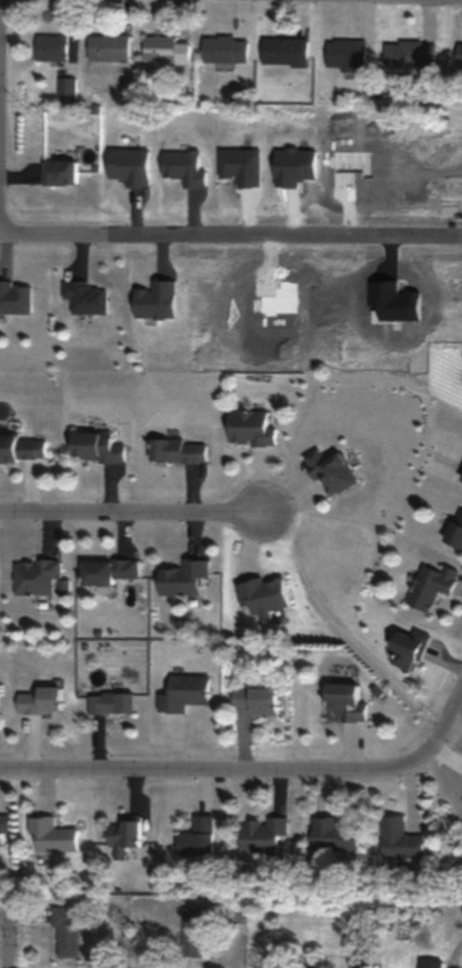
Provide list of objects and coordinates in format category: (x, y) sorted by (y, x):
road: (364, 1)
building: (50, 47)
building: (109, 47)
building: (166, 49)
building: (225, 49)
building: (285, 51)
building: (346, 53)
building: (410, 53)
building: (459, 54)
building: (67, 87)
building: (58, 171)
road: (231, 210)
building: (15, 297)
building: (85, 297)
building: (250, 427)
building: (95, 446)
building: (23, 447)
building: (177, 450)
building: (329, 471)
building: (460, 477)
road: (133, 514)
building: (454, 530)
building: (107, 571)
building: (36, 576)
building: (430, 586)
building: (407, 647)
building: (183, 692)
building: (254, 699)
building: (41, 700)
building: (344, 702)
building: (110, 703)
road: (252, 773)
building: (4, 824)
building: (261, 832)
building: (333, 833)
building: (52, 834)
building: (197, 836)
building: (124, 837)
building: (399, 838)
building: (66, 930)
building: (193, 931)
road: (11, 937)
road: (255, 943)
building: (428, 963)
building: (307, 965)

